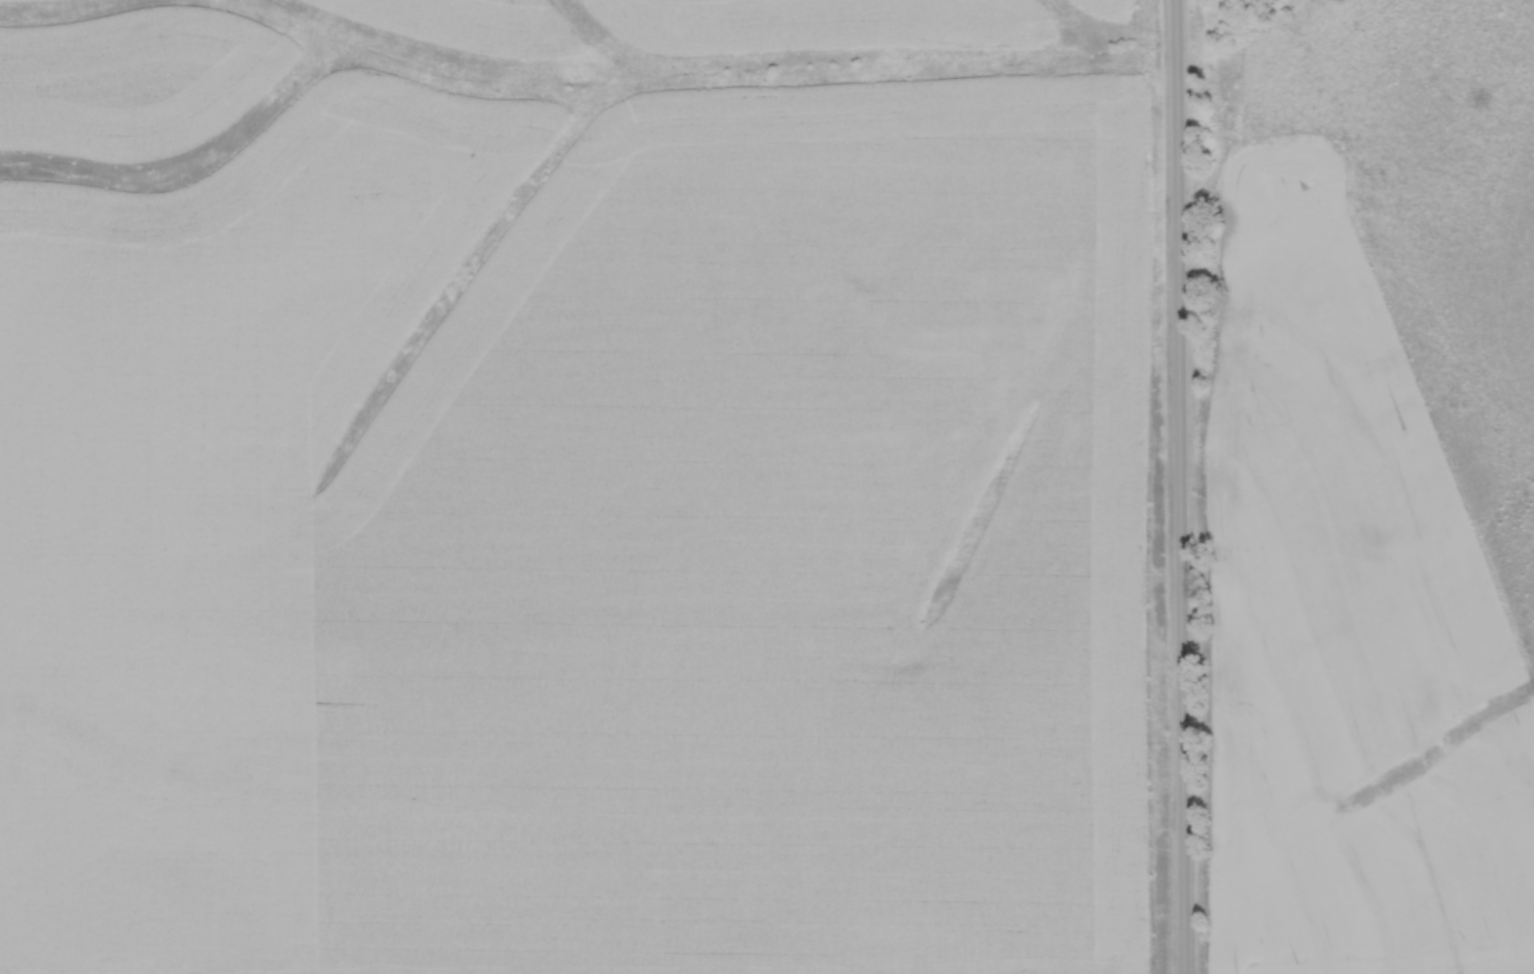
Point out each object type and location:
park: (1426, 214)
road: (1179, 486)

